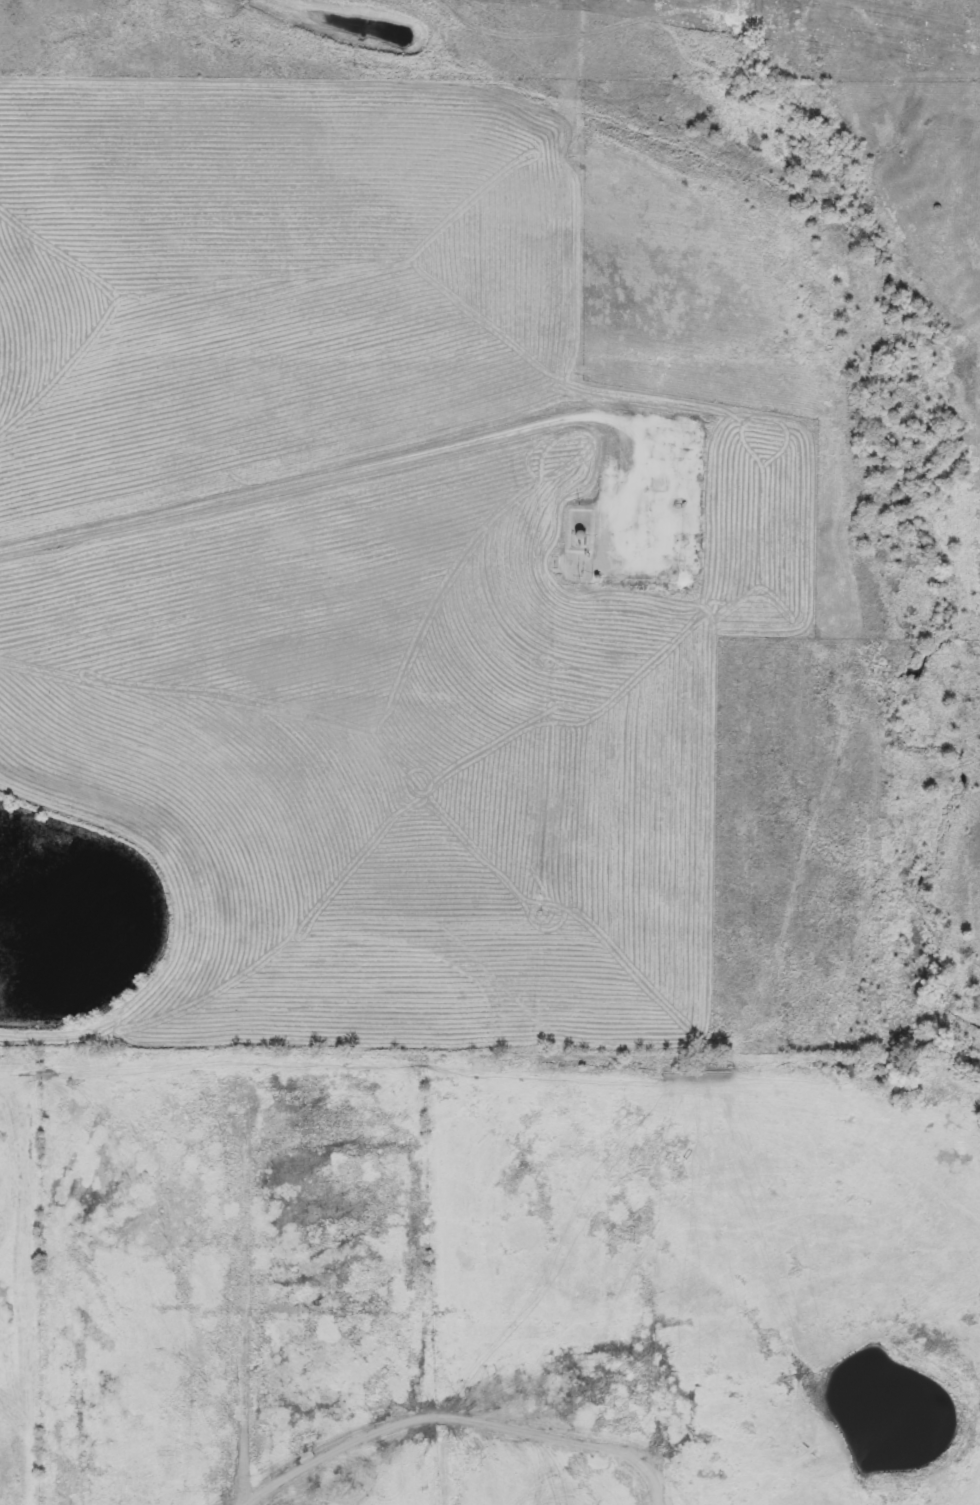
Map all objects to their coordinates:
road: (288, 488)

